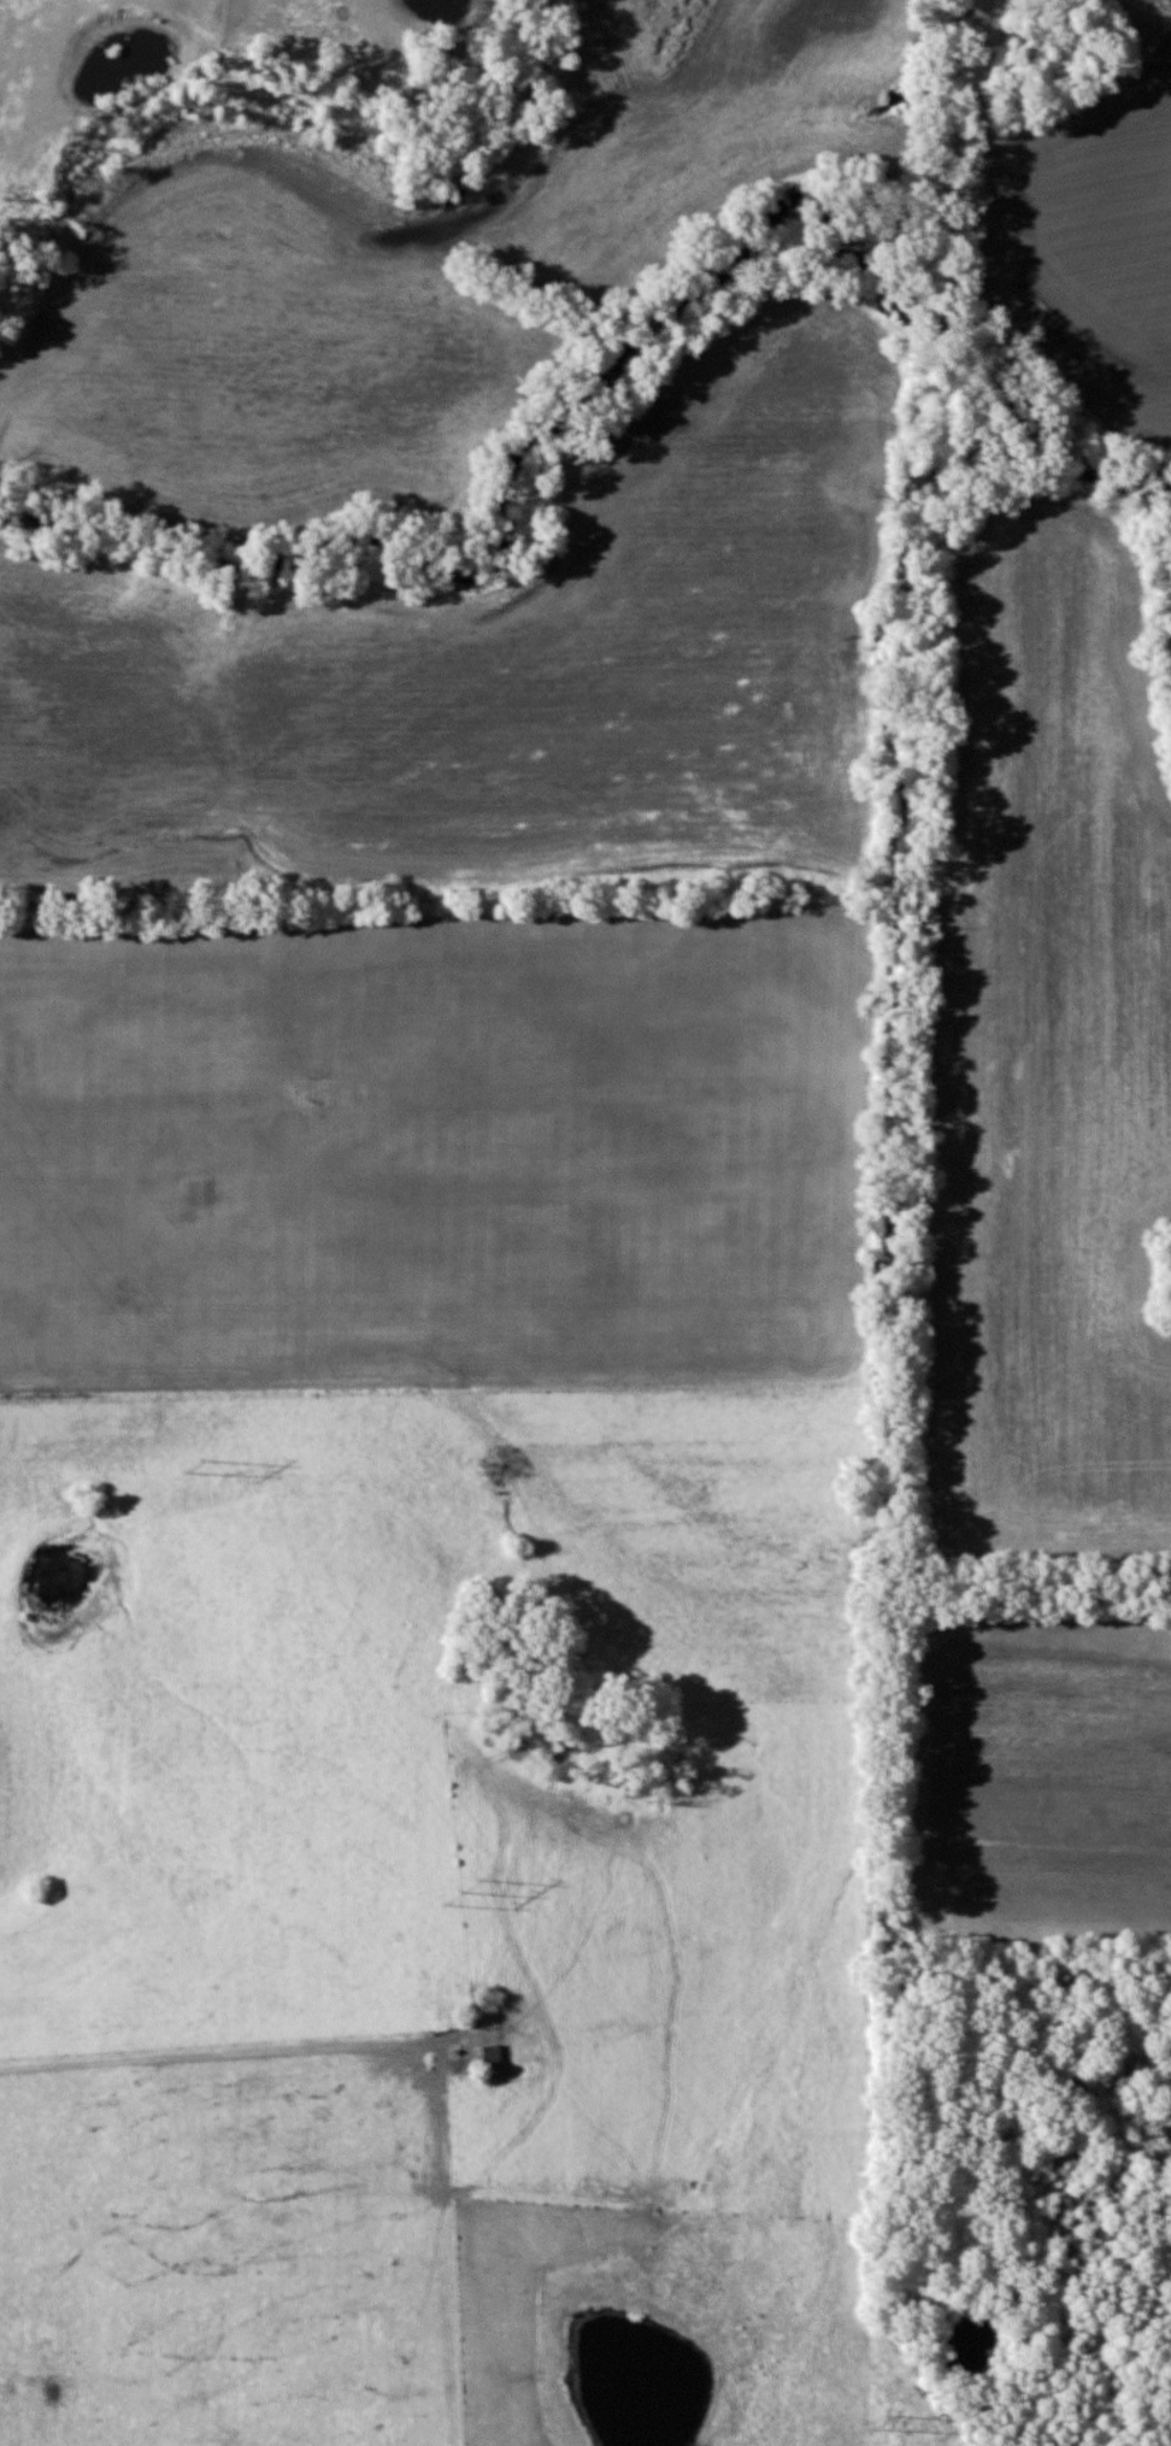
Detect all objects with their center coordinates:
power tower: (188, 1465)
power tower: (466, 1883)
road: (217, 2053)
building: (489, 2054)
power tower: (881, 2426)

